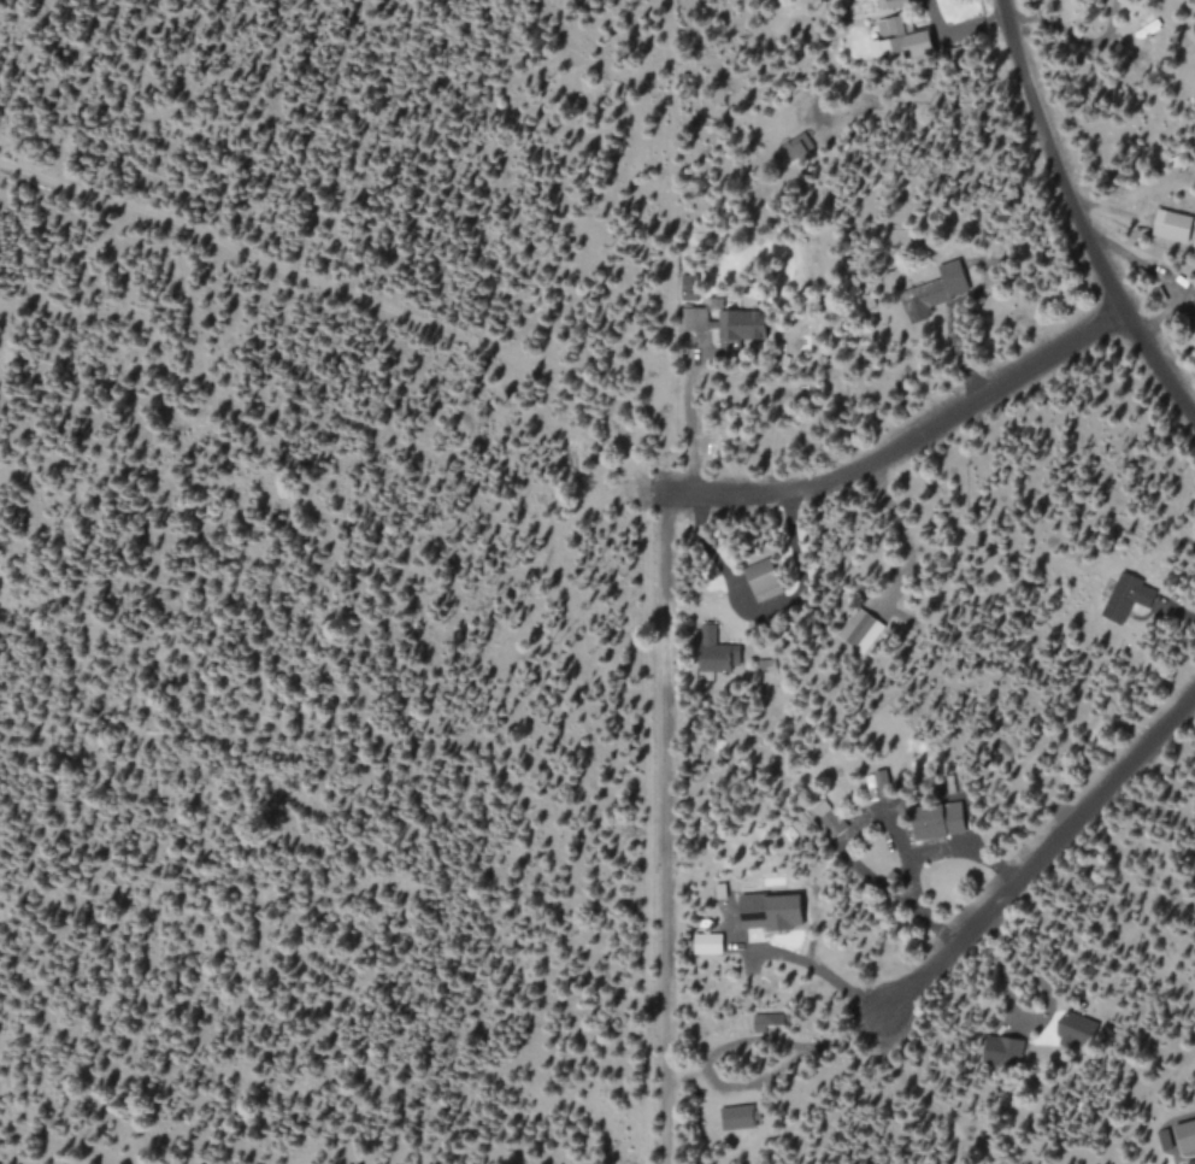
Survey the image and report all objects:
road: (1077, 219)
building: (1172, 224)
building: (935, 289)
building: (724, 322)
road: (906, 445)
building: (760, 576)
building: (1125, 595)
building: (937, 821)
road: (664, 830)
road: (1042, 856)
building: (773, 913)
building: (707, 943)
building: (736, 1117)
building: (1185, 1136)

